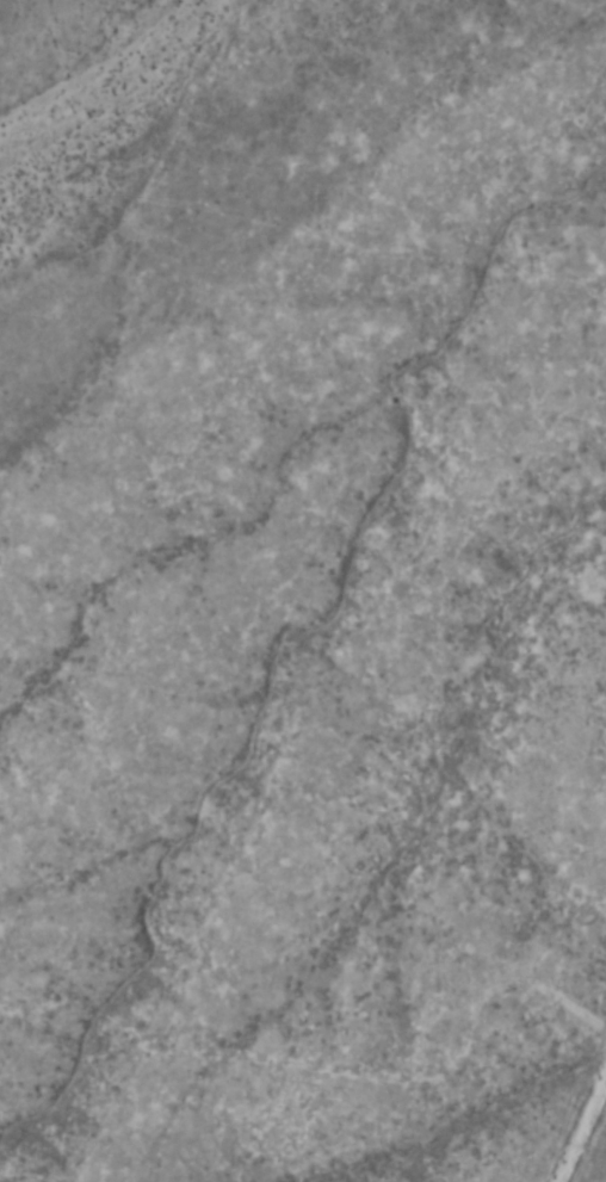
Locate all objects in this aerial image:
road: (604, 1177)

